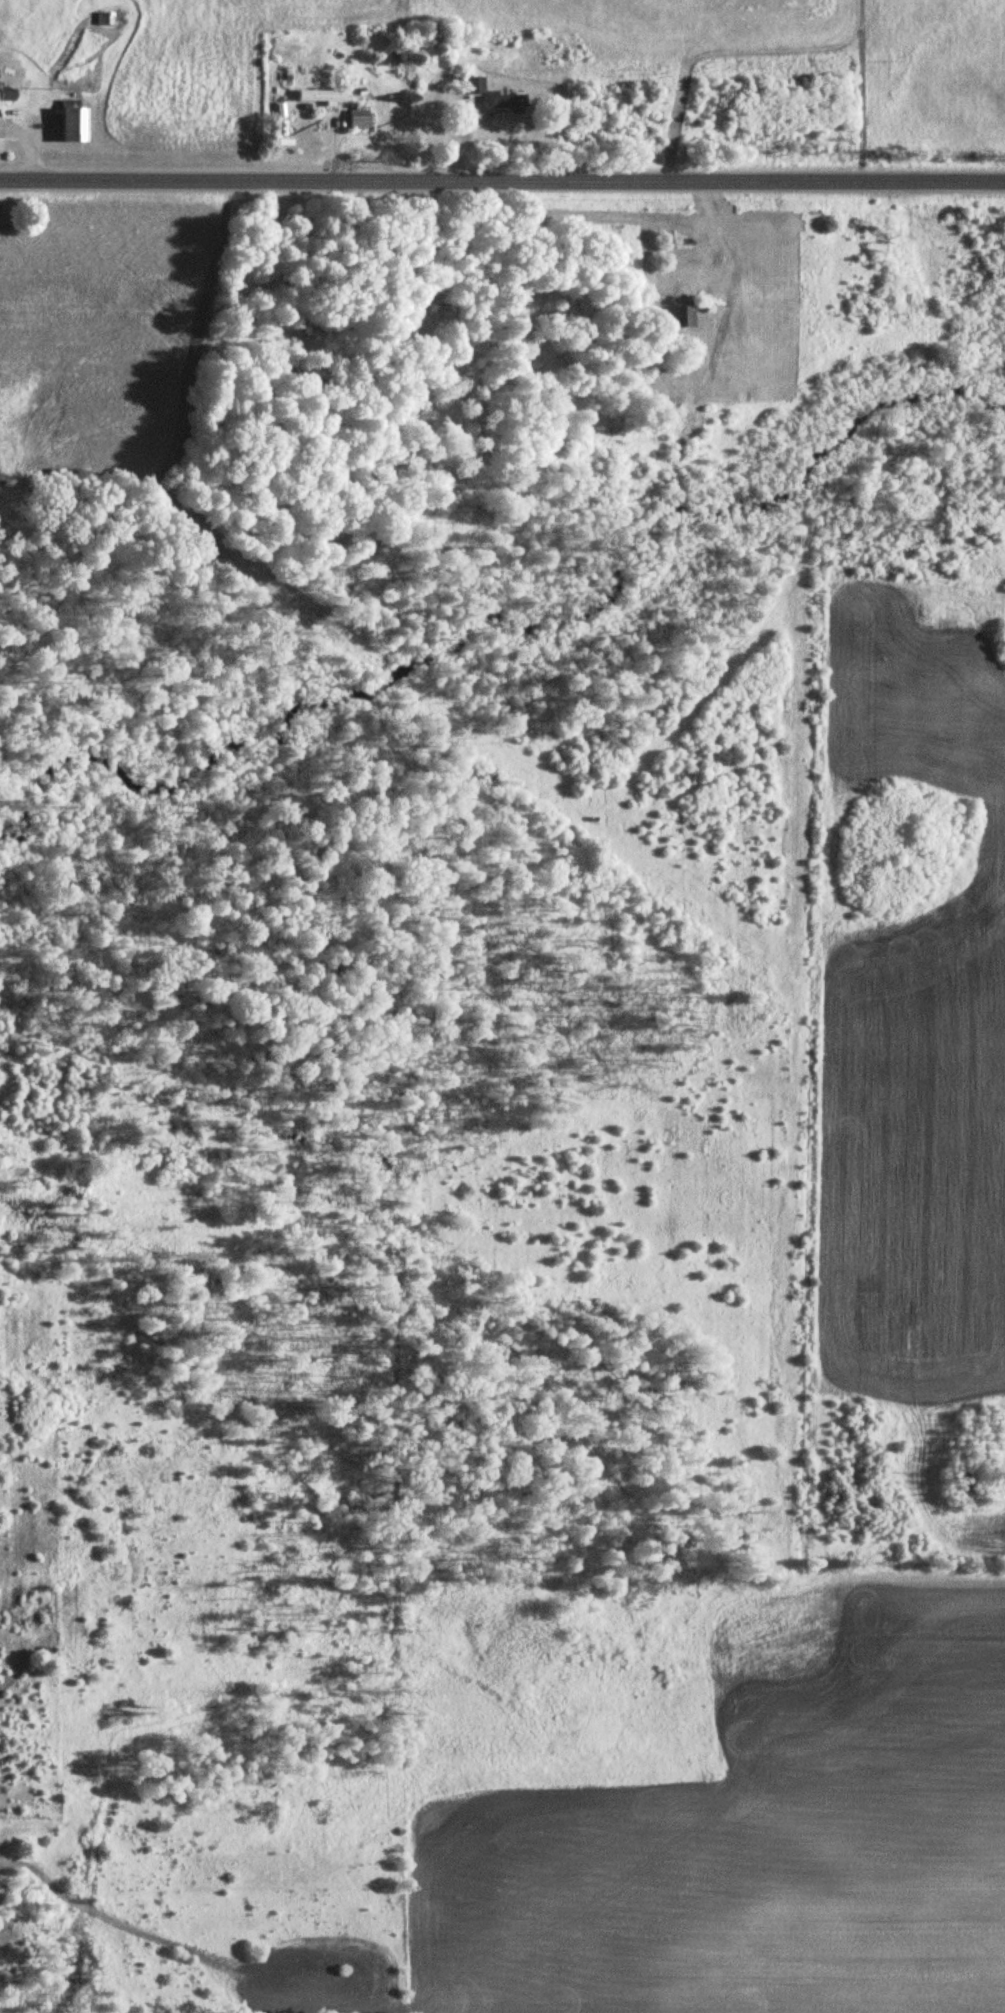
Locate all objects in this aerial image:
building: (106, 19)
building: (471, 85)
building: (501, 104)
building: (381, 109)
building: (353, 120)
building: (67, 125)
road: (502, 179)
road: (724, 243)
building: (681, 316)

